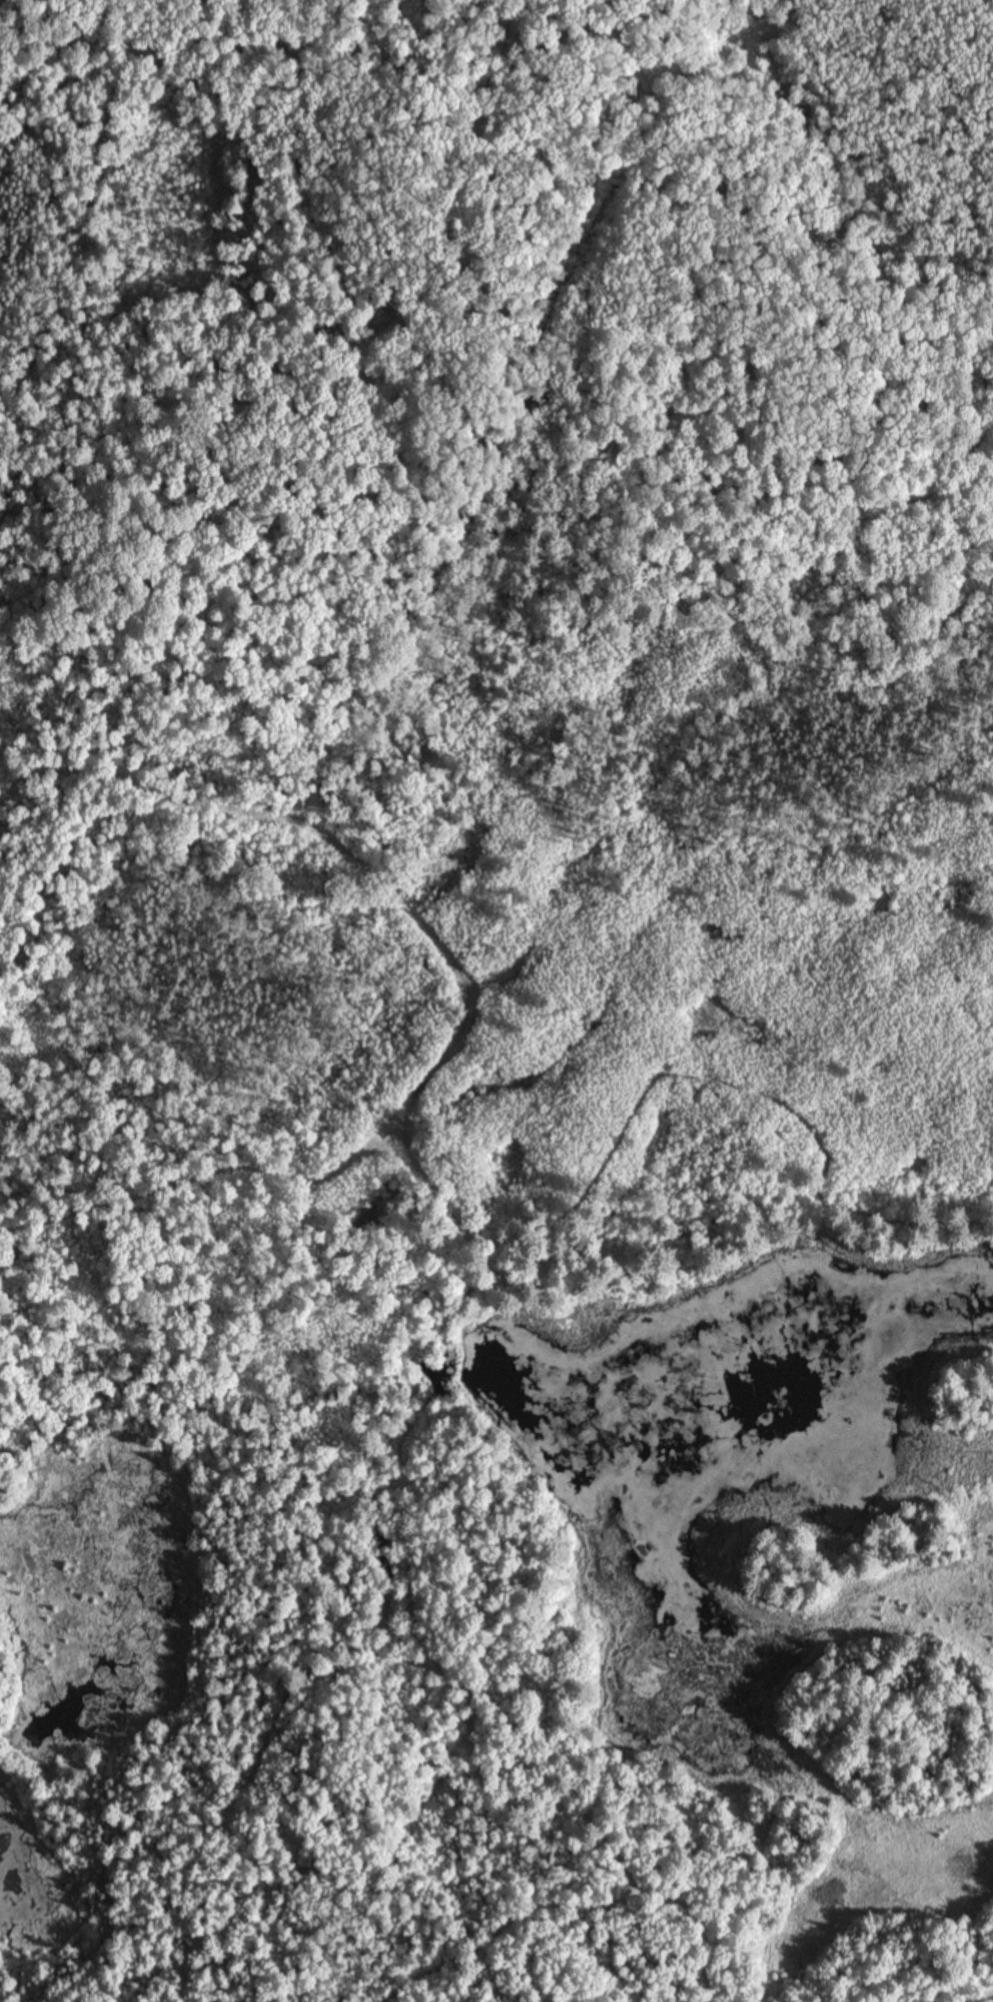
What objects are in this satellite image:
road: (448, 1359)

